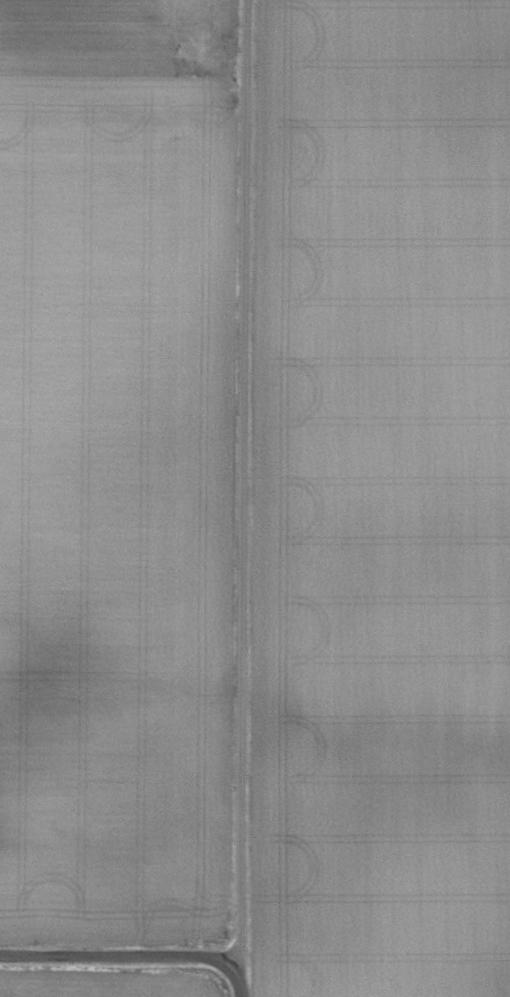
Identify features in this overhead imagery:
road: (242, 498)
road: (119, 959)

